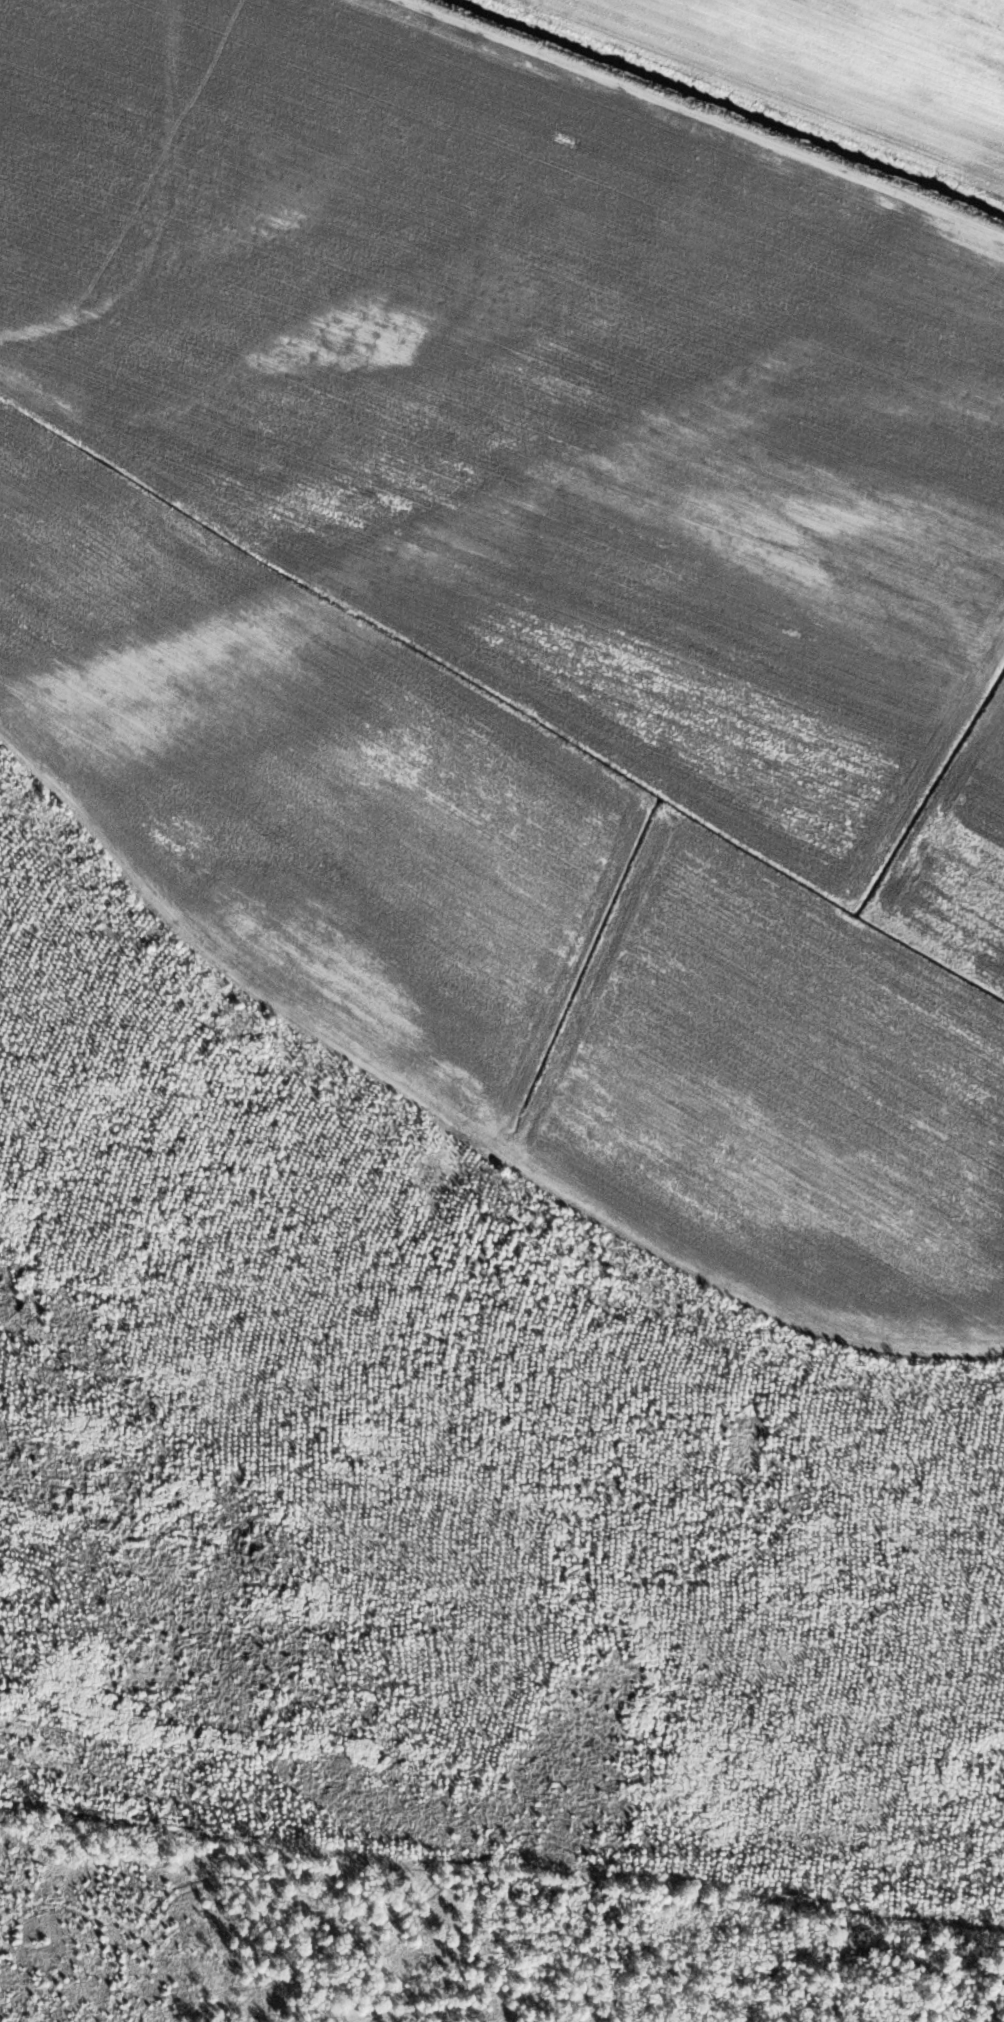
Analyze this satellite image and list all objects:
road: (704, 114)

